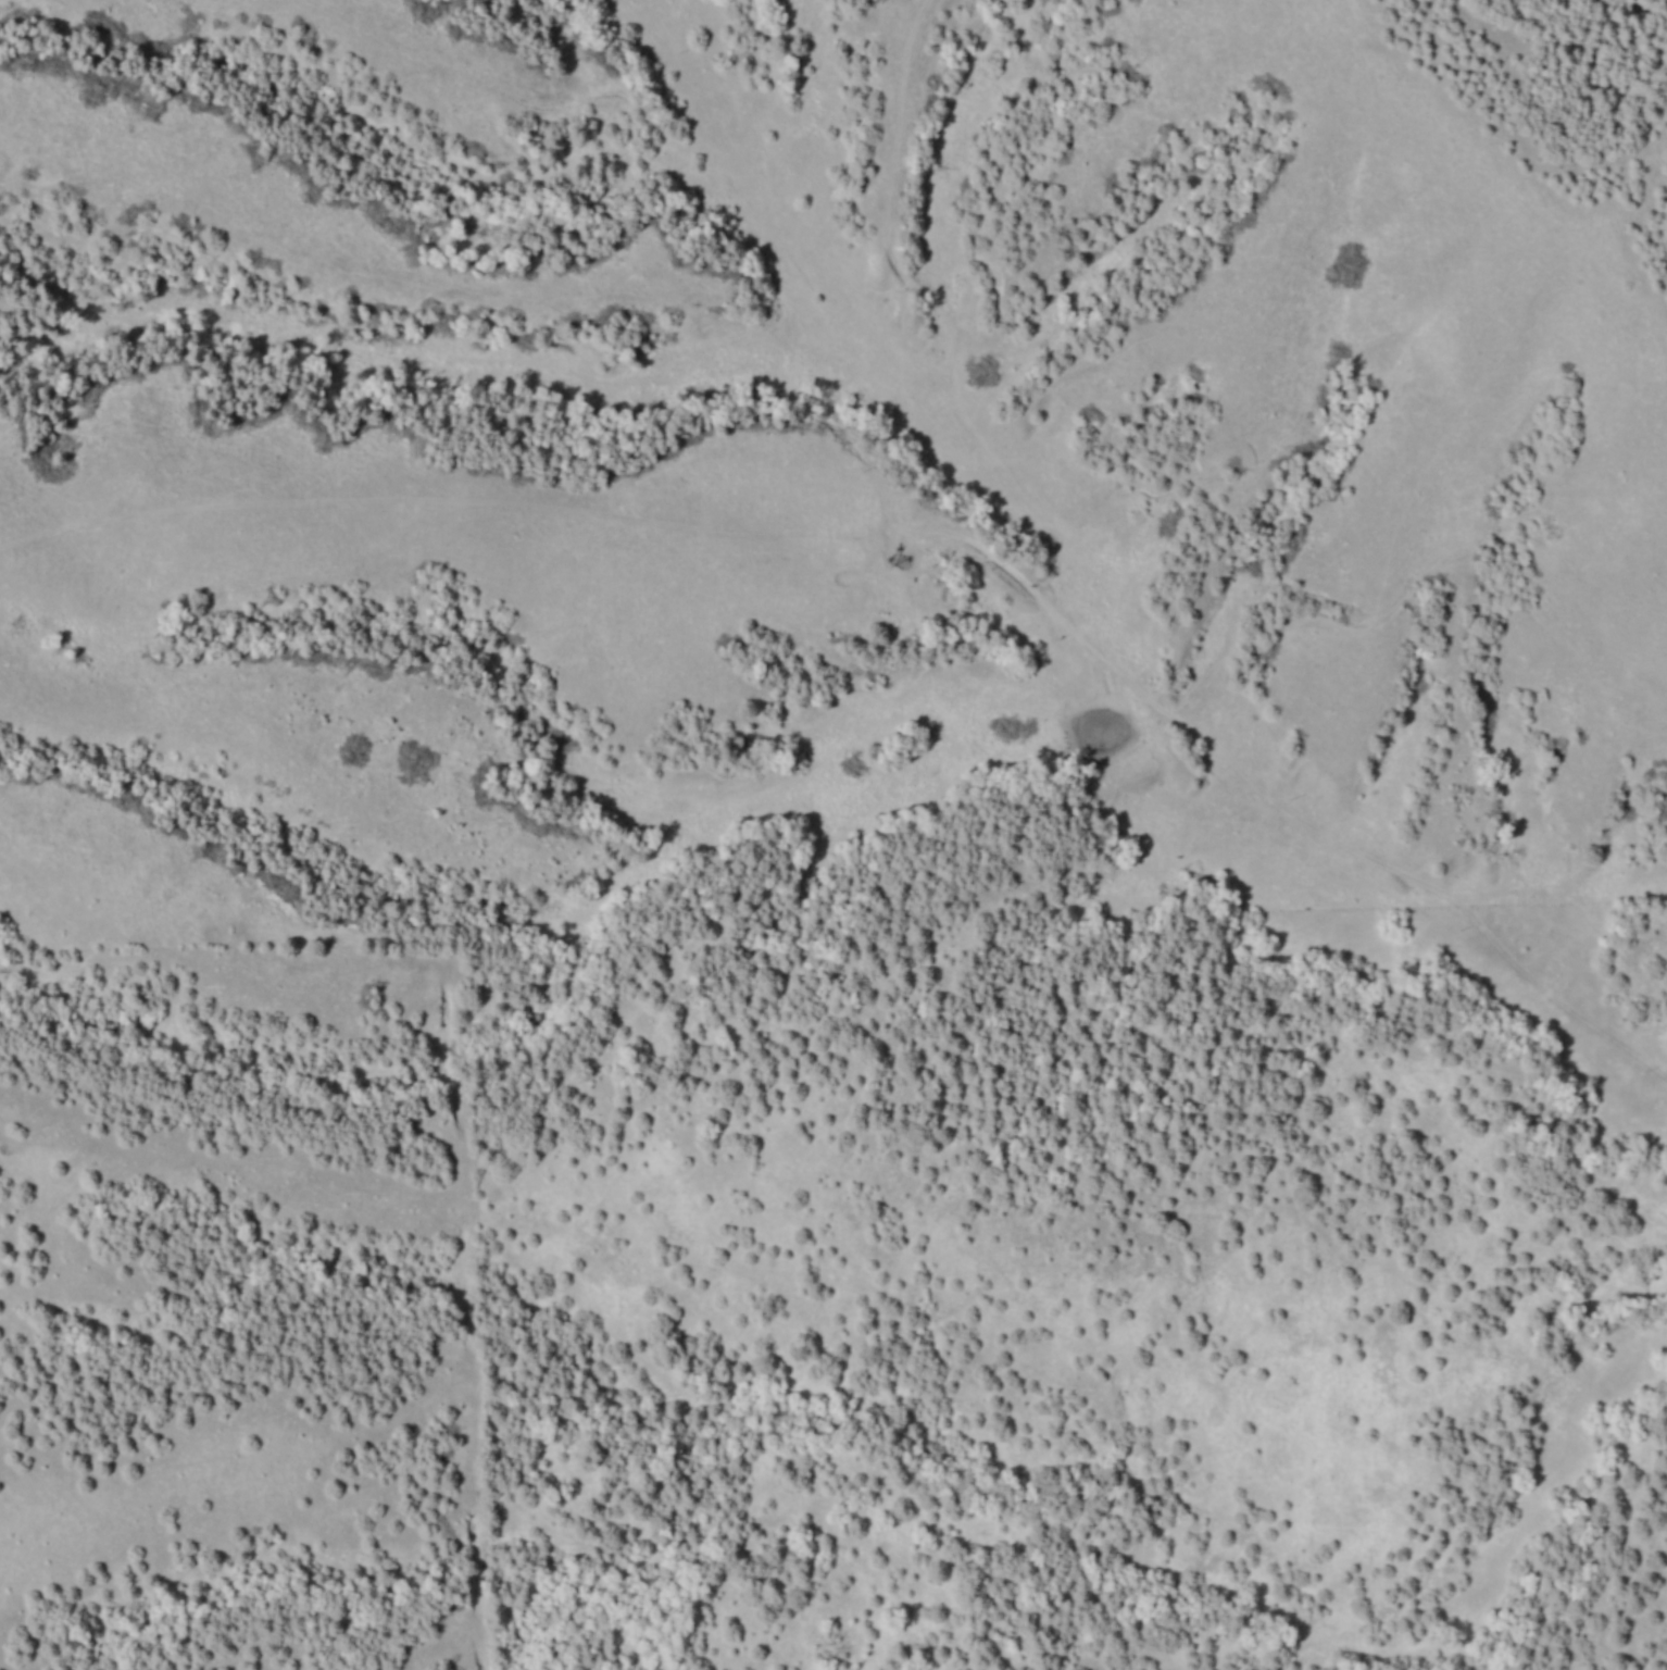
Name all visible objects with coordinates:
crop: (246, 1314)

